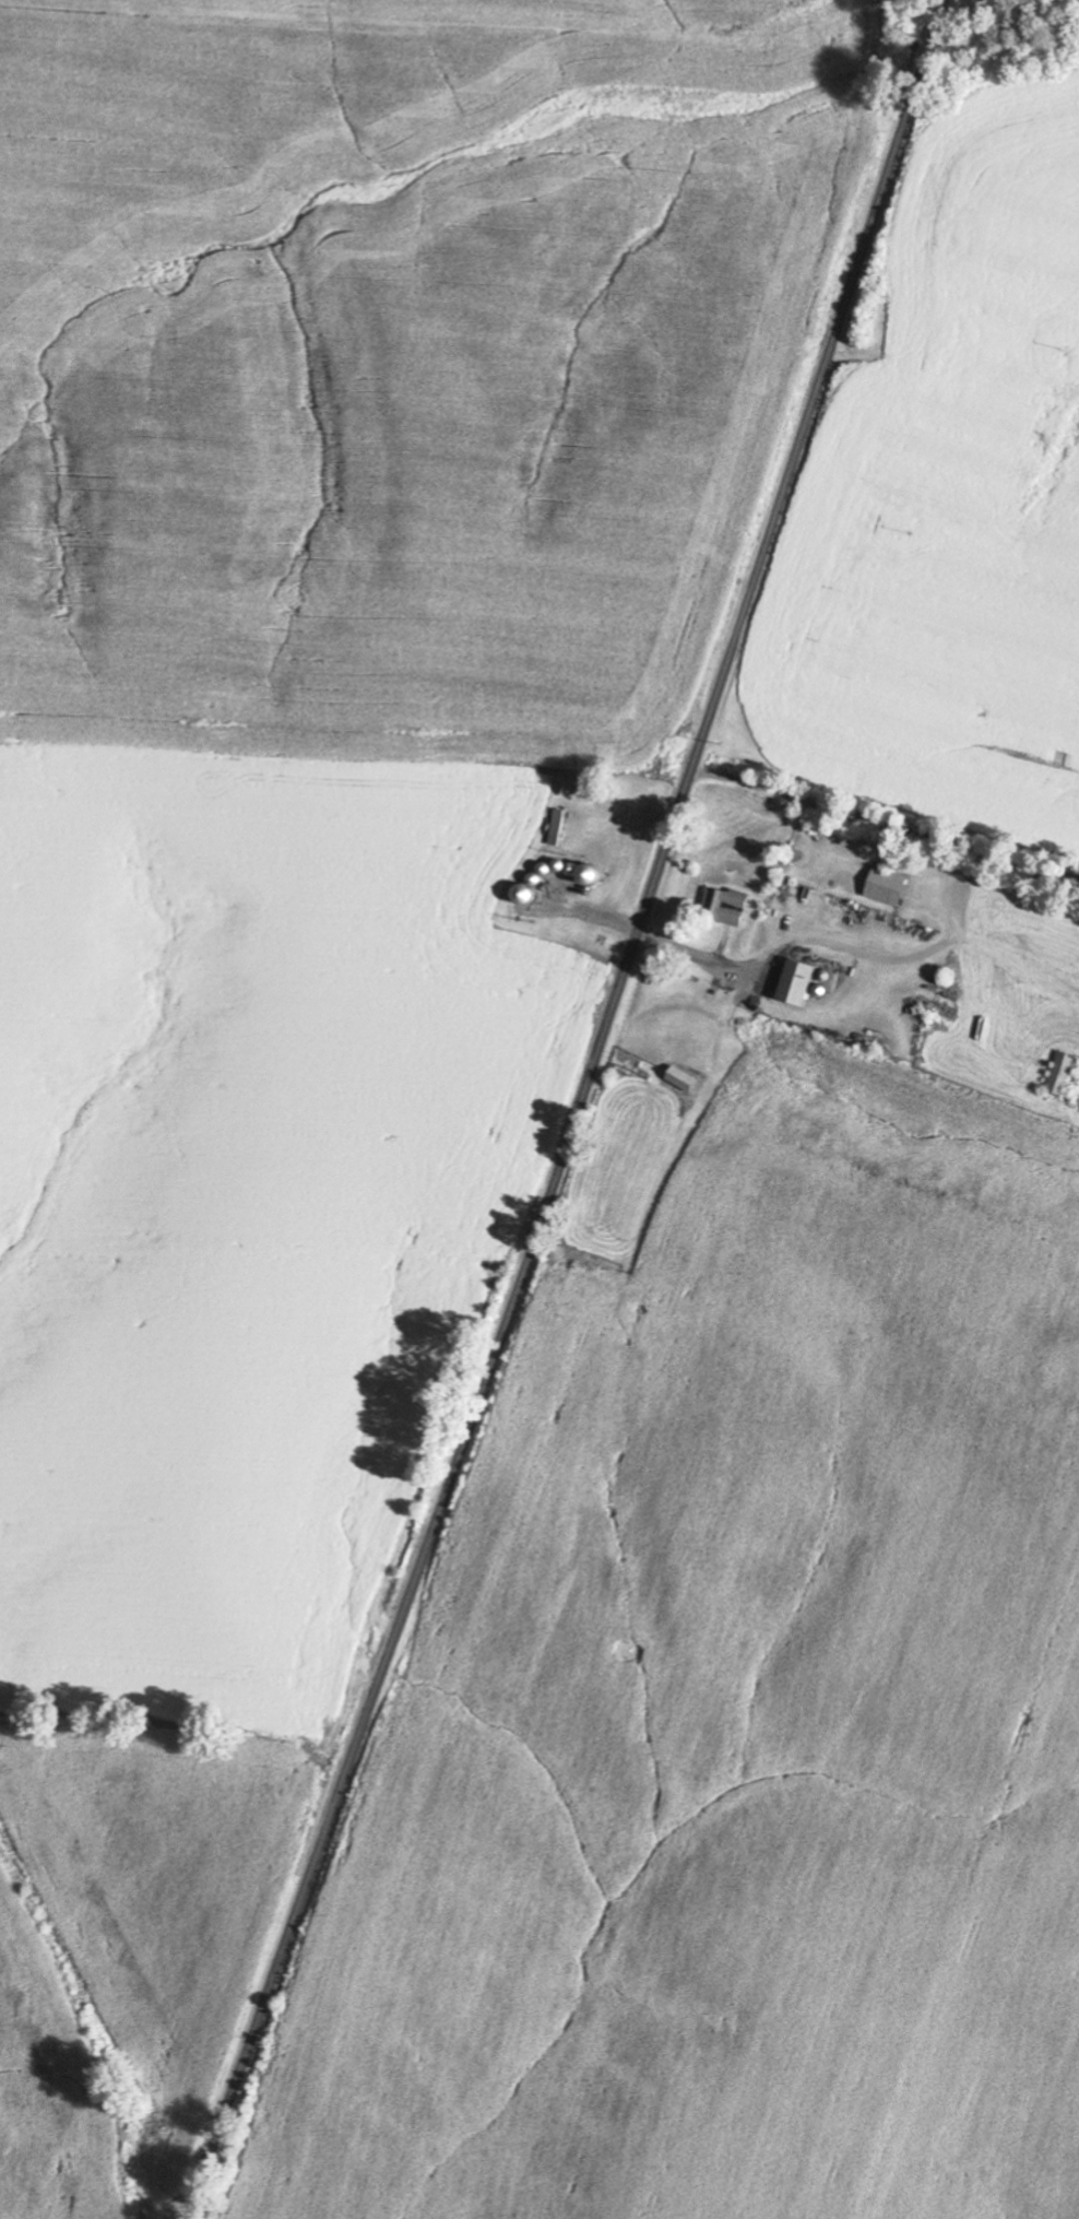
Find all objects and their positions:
road: (886, 826)
building: (559, 828)
building: (889, 887)
building: (728, 906)
building: (799, 984)
building: (1063, 1074)
building: (685, 1079)
road: (579, 1112)

